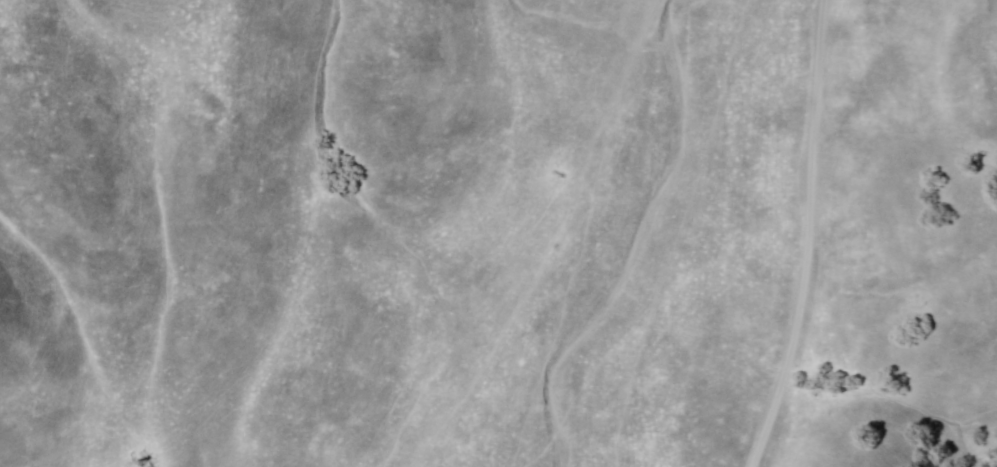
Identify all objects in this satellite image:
road: (806, 236)

